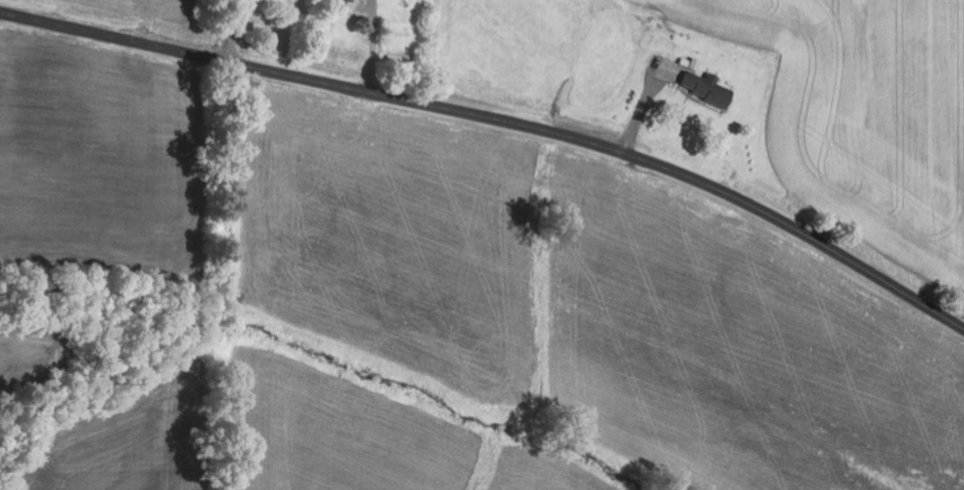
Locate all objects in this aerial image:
building: (335, 3)
road: (233, 31)
building: (701, 88)
road: (499, 119)

